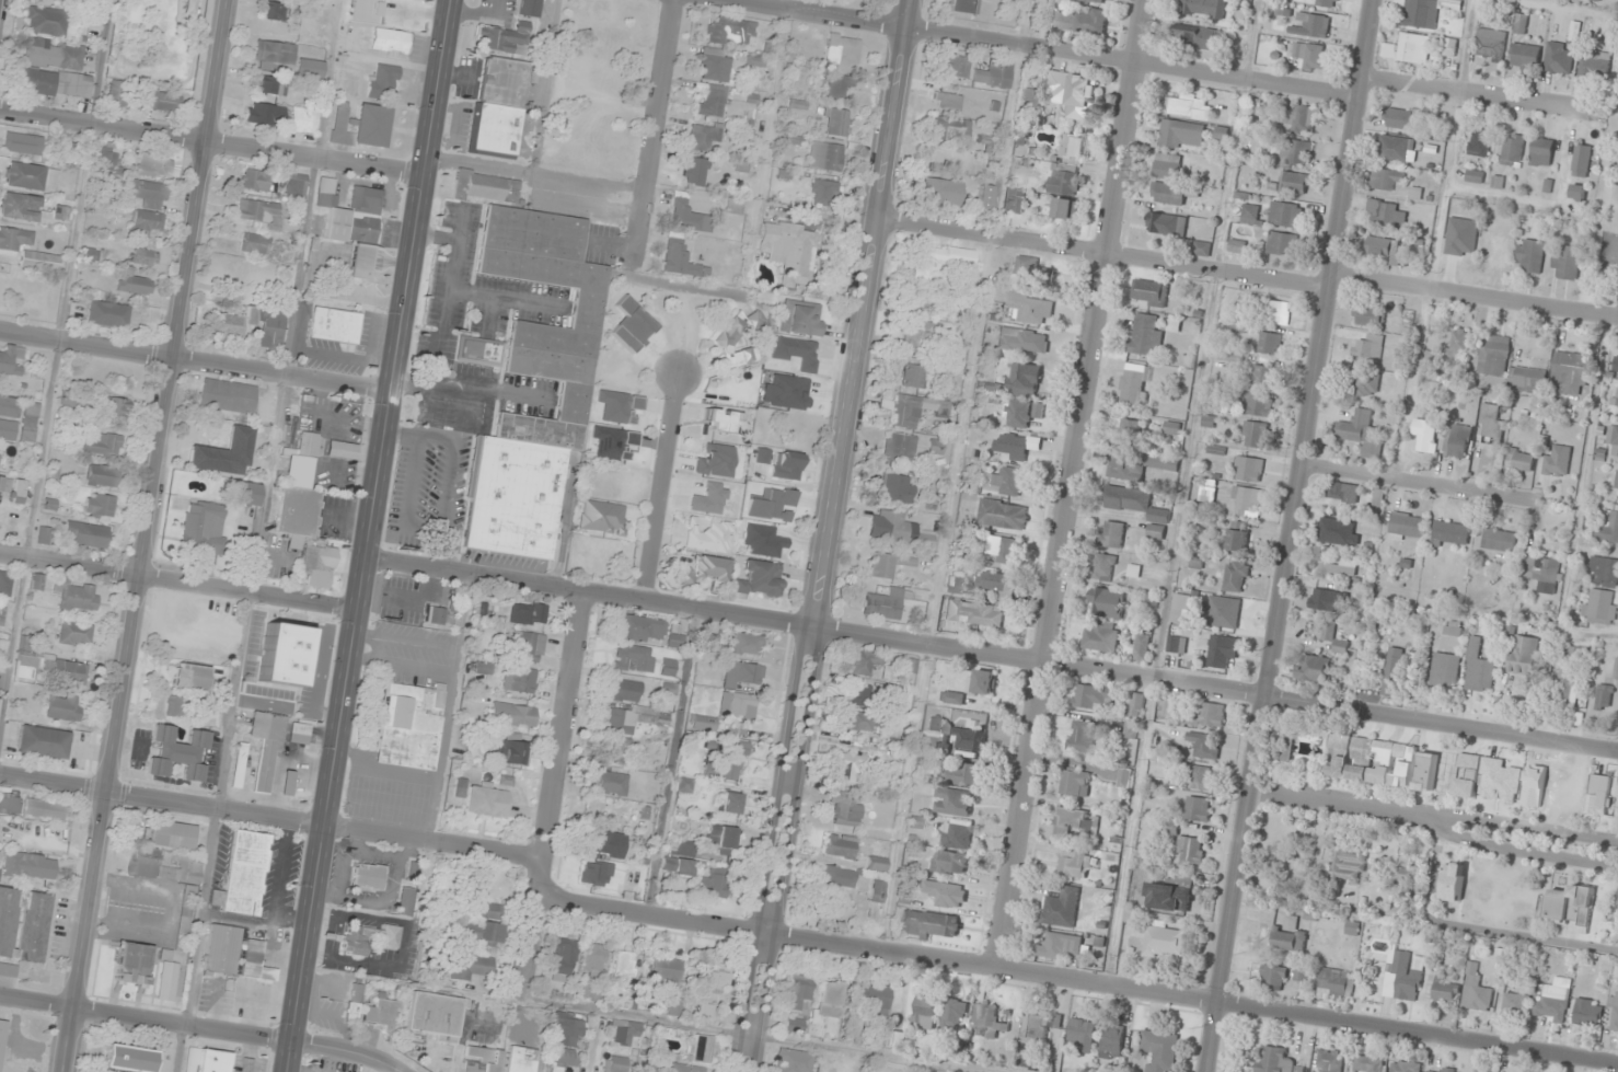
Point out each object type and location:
building: (68, 0)
building: (423, 0)
building: (1090, 1)
building: (1324, 3)
building: (964, 7)
building: (529, 8)
building: (1204, 8)
road: (1557, 8)
building: (271, 11)
building: (1425, 11)
building: (361, 12)
building: (46, 21)
building: (1080, 21)
building: (1310, 26)
building: (729, 32)
building: (1197, 37)
building: (501, 39)
building: (391, 41)
building: (1489, 45)
road: (1047, 47)
building: (1407, 48)
building: (1448, 48)
building: (842, 49)
building: (54, 55)
building: (274, 56)
building: (1308, 56)
building: (1524, 56)
building: (1559, 58)
building: (714, 65)
building: (956, 66)
building: (1594, 67)
building: (309, 68)
building: (994, 73)
building: (381, 80)
building: (54, 83)
building: (839, 85)
building: (270, 87)
building: (1073, 89)
building: (116, 94)
road: (1467, 95)
building: (1028, 99)
building: (710, 101)
building: (946, 102)
building: (163, 103)
building: (498, 106)
building: (1188, 106)
building: (265, 115)
building: (1407, 117)
building: (1301, 119)
building: (303, 120)
building: (836, 123)
building: (360, 125)
building: (951, 129)
road: (655, 132)
building: (1180, 135)
building: (703, 136)
building: (1221, 137)
building: (22, 142)
road: (209, 143)
building: (1478, 143)
building: (1072, 149)
building: (1394, 149)
building: (67, 150)
building: (1296, 151)
building: (1512, 151)
building: (1540, 152)
building: (108, 157)
building: (825, 157)
building: (1580, 161)
building: (151, 165)
building: (1168, 166)
road: (534, 171)
building: (695, 171)
building: (30, 176)
building: (1473, 176)
building: (1386, 180)
building: (254, 181)
building: (1064, 183)
building: (1295, 183)
building: (296, 185)
building: (941, 191)
building: (823, 192)
building: (1576, 192)
building: (150, 194)
building: (1168, 194)
road: (1500, 196)
building: (984, 197)
building: (733, 206)
building: (20, 207)
building: (1012, 207)
park: (1604, 208)
building: (1065, 209)
building: (61, 211)
building: (262, 215)
building: (686, 215)
building: (1250, 215)
building: (1284, 215)
building: (1394, 215)
building: (146, 223)
building: (353, 223)
building: (1167, 224)
road: (1435, 240)
building: (255, 243)
building: (1281, 244)
building: (1236, 246)
building: (1461, 246)
building: (1382, 247)
building: (1202, 249)
building: (27, 250)
building: (787, 250)
building: (1494, 252)
building: (142, 256)
building: (1528, 257)
building: (680, 258)
building: (938, 262)
building: (1565, 262)
building: (1033, 273)
road: (1247, 277)
building: (134, 285)
building: (1151, 293)
park: (30, 301)
building: (1031, 309)
building: (1276, 313)
building: (105, 314)
building: (1367, 316)
building: (801, 318)
building: (232, 323)
building: (334, 325)
building: (271, 331)
building: (915, 335)
building: (1145, 335)
building: (1022, 341)
building: (1456, 342)
building: (724, 343)
building: (1269, 344)
building: (1367, 347)
building: (479, 351)
building: (1493, 356)
building: (1430, 357)
road: (193, 358)
building: (11, 360)
building: (1616, 362)
building: (530, 371)
building: (1569, 372)
building: (1263, 373)
building: (911, 374)
building: (1024, 380)
building: (1525, 380)
building: (1134, 384)
building: (1364, 385)
building: (789, 392)
building: (227, 395)
building: (1259, 403)
building: (10, 406)
building: (115, 407)
building: (903, 411)
building: (266, 412)
building: (1018, 414)
building: (720, 420)
building: (28, 422)
building: (1490, 424)
building: (8, 429)
building: (1128, 431)
building: (1360, 433)
building: (1253, 435)
building: (1424, 436)
building: (1613, 439)
building: (1458, 441)
building: (103, 445)
building: (900, 446)
building: (1015, 447)
building: (342, 450)
building: (0, 451)
building: (1521, 461)
building: (1556, 461)
building: (714, 462)
building: (1137, 464)
building: (1249, 469)
building: (101, 475)
building: (1616, 481)
building: (1005, 482)
road: (1072, 482)
road: (1417, 483)
road: (659, 487)
building: (897, 488)
building: (12, 489)
building: (246, 493)
building: (1344, 493)
building: (1248, 502)
building: (100, 506)
building: (1139, 508)
building: (303, 512)
building: (1003, 515)
building: (601, 517)
building: (1406, 526)
building: (1607, 526)
building: (893, 527)
building: (200, 528)
building: (1338, 532)
building: (89, 534)
building: (1449, 534)
road: (145, 535)
road: (363, 535)
building: (708, 535)
road: (827, 535)
building: (1112, 535)
road: (1288, 535)
building: (1499, 540)
building: (763, 541)
building: (1238, 541)
building: (1003, 550)
building: (889, 565)
building: (1330, 565)
building: (1103, 567)
building: (705, 570)
building: (1603, 572)
building: (1541, 574)
building: (1236, 577)
building: (759, 579)
building: (36, 581)
road: (176, 583)
building: (997, 584)
building: (7, 585)
building: (956, 585)
building: (77, 595)
building: (1326, 600)
building: (1107, 603)
building: (883, 604)
building: (1598, 607)
building: (1180, 609)
building: (1223, 612)
building: (530, 613)
building: (974, 613)
building: (434, 614)
building: (2, 615)
building: (642, 629)
building: (1452, 629)
building: (1328, 630)
building: (74, 633)
building: (1101, 638)
building: (677, 641)
building: (276, 642)
building: (748, 644)
building: (1177, 645)
building: (1142, 646)
building: (530, 647)
building: (1340, 647)
building: (1220, 652)
road: (989, 655)
building: (1523, 655)
building: (634, 658)
building: (864, 662)
building: (668, 667)
building: (1313, 668)
building: (51, 669)
building: (1478, 669)
building: (1445, 670)
building: (1391, 671)
building: (743, 675)
building: (1568, 676)
building: (190, 677)
building: (519, 679)
building: (259, 682)
building: (983, 682)
building: (626, 690)
building: (859, 694)
building: (1094, 696)
building: (1603, 696)
building: (952, 698)
building: (1135, 704)
building: (737, 705)
building: (166, 706)
building: (62, 707)
building: (1166, 710)
building: (518, 715)
building: (1207, 715)
building: (633, 718)
building: (700, 722)
building: (862, 722)
building: (409, 726)
building: (1130, 729)
building: (299, 734)
building: (962, 736)
building: (1082, 737)
building: (43, 741)
building: (1204, 745)
building: (1286, 746)
building: (614, 748)
building: (265, 749)
building: (177, 752)
building: (512, 752)
building: (1349, 758)
building: (732, 760)
building: (239, 764)
building: (851, 765)
building: (960, 773)
building: (1468, 775)
building: (1123, 779)
building: (1202, 779)
building: (613, 782)
building: (288, 783)
building: (1075, 783)
building: (685, 784)
road: (551, 796)
road: (1337, 796)
building: (486, 802)
building: (951, 802)
building: (730, 803)
building: (9, 804)
building: (45, 809)
building: (1198, 809)
building: (846, 810)
road: (271, 814)
building: (1073, 821)
road: (1519, 823)
building: (958, 834)
building: (172, 835)
building: (721, 837)
building: (612, 844)
building: (841, 846)
building: (682, 849)
road: (1515, 849)
building: (1190, 850)
building: (949, 863)
building: (1074, 863)
building: (877, 864)
building: (30, 865)
building: (1349, 865)
building: (678, 866)
building: (597, 873)
building: (244, 874)
building: (839, 876)
building: (369, 877)
building: (1453, 881)
building: (714, 883)
building: (631, 889)
building: (878, 891)
building: (1172, 894)
building: (946, 895)
building: (405, 902)
building: (1060, 907)
building: (1570, 907)
building: (1132, 915)
building: (185, 918)
building: (23, 923)
building: (928, 924)
building: (1287, 936)
building: (475, 937)
building: (1163, 942)
building: (354, 943)
building: (1059, 946)
building: (221, 948)
building: (594, 957)
building: (565, 959)
building: (254, 961)
building: (132, 963)
building: (624, 963)
building: (667, 973)
building: (1273, 976)
building: (1402, 976)
road: (1084, 977)
building: (169, 978)
building: (716, 979)
building: (1334, 982)
building: (1440, 990)
building: (1475, 990)
building: (872, 998)
building: (831, 999)
building: (1552, 1000)
building: (354, 1002)
building: (1513, 1003)
building: (799, 1004)
building: (675, 1008)
building: (707, 1012)
building: (925, 1012)
building: (1587, 1013)
building: (381, 1014)
building: (954, 1014)
building: (1614, 1014)
building: (435, 1016)
building: (987, 1021)
road: (203, 1028)
building: (569, 1031)
building: (624, 1031)
building: (1080, 1033)
building: (2, 1034)
building: (897, 1039)
building: (1032, 1040)
building: (1111, 1040)
building: (703, 1049)
building: (1159, 1050)
building: (127, 1058)
building: (520, 1059)
building: (205, 1060)
building: (481, 1060)
building: (565, 1060)
building: (795, 1061)
building: (1274, 1061)
building: (1070, 1063)
building: (1367, 1063)
building: (616, 1064)
building: (1405, 1067)
building: (687, 1068)
building: (1438, 1070)

